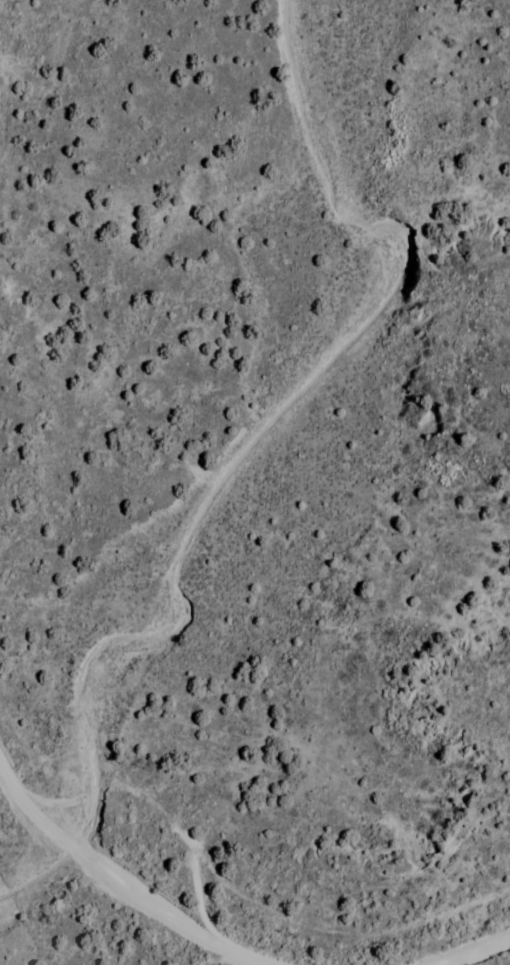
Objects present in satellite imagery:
road: (28, 809)
road: (76, 851)
road: (169, 920)
road: (476, 951)

